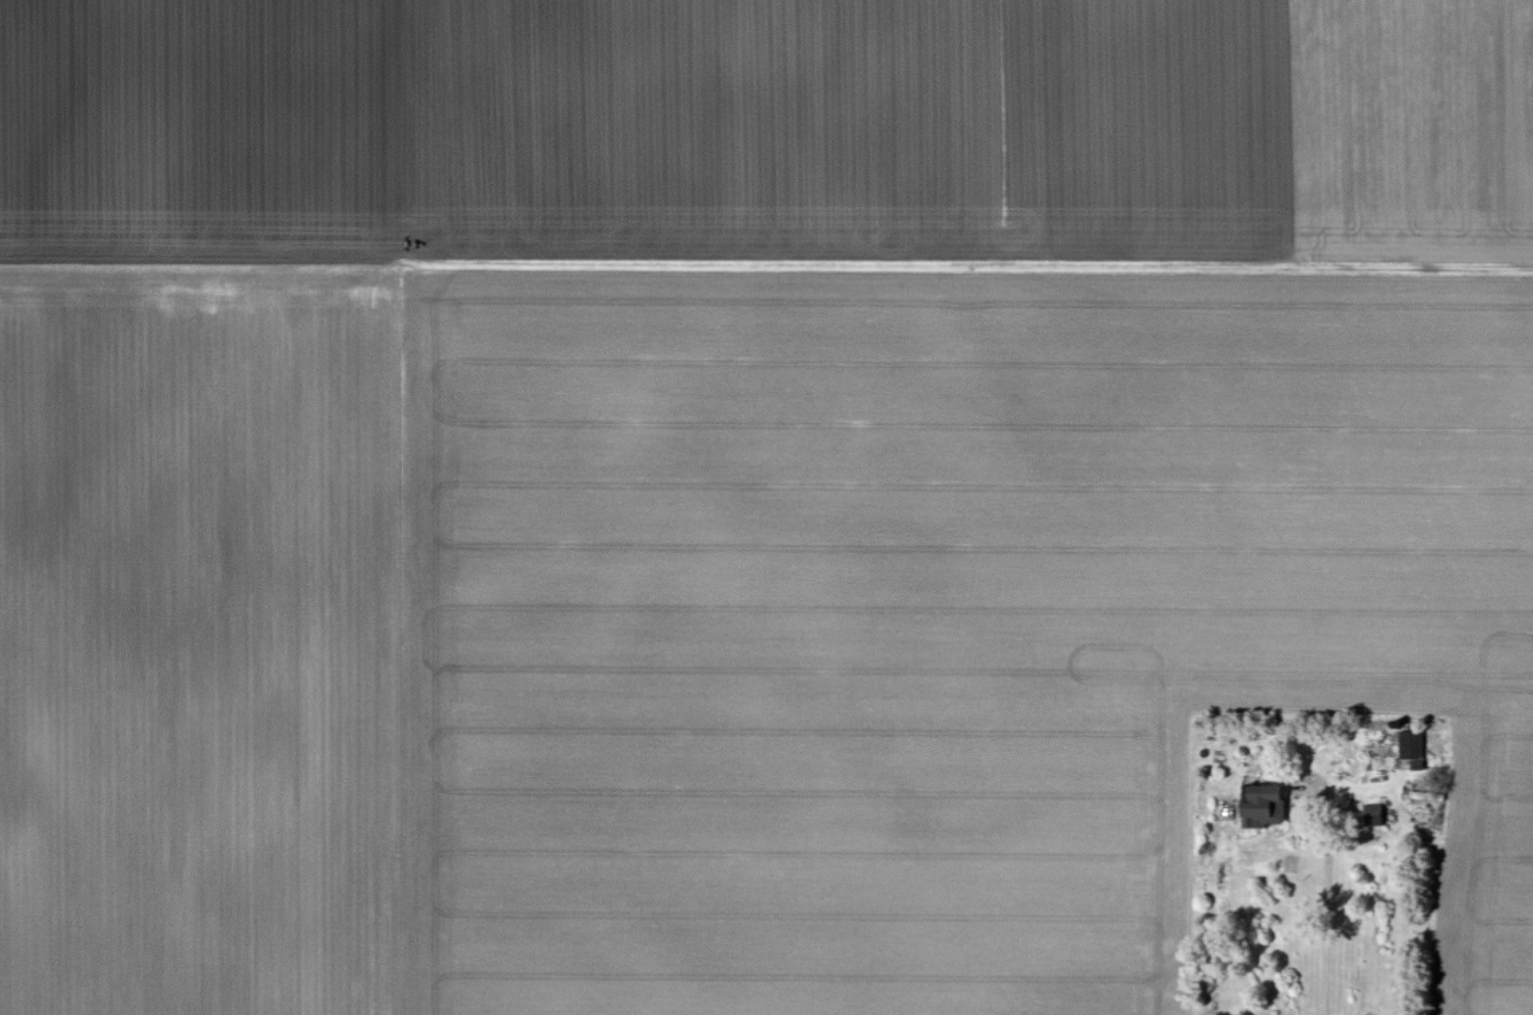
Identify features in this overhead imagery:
road: (1333, 918)

